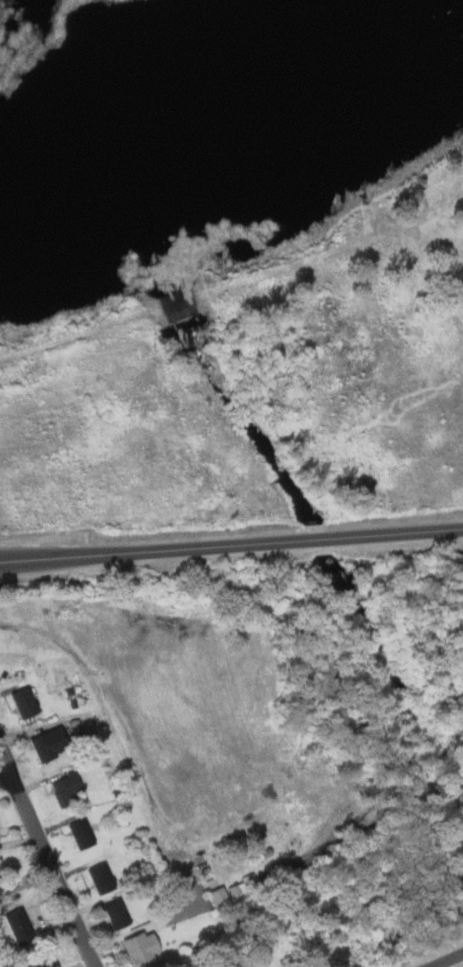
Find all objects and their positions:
road: (72, 324)
building: (168, 331)
road: (231, 545)
building: (26, 701)
building: (51, 742)
road: (6, 775)
building: (67, 789)
building: (82, 833)
road: (49, 855)
building: (101, 877)
building: (237, 889)
building: (220, 898)
building: (116, 914)
building: (20, 926)
building: (142, 949)
road: (446, 959)
building: (43, 963)

